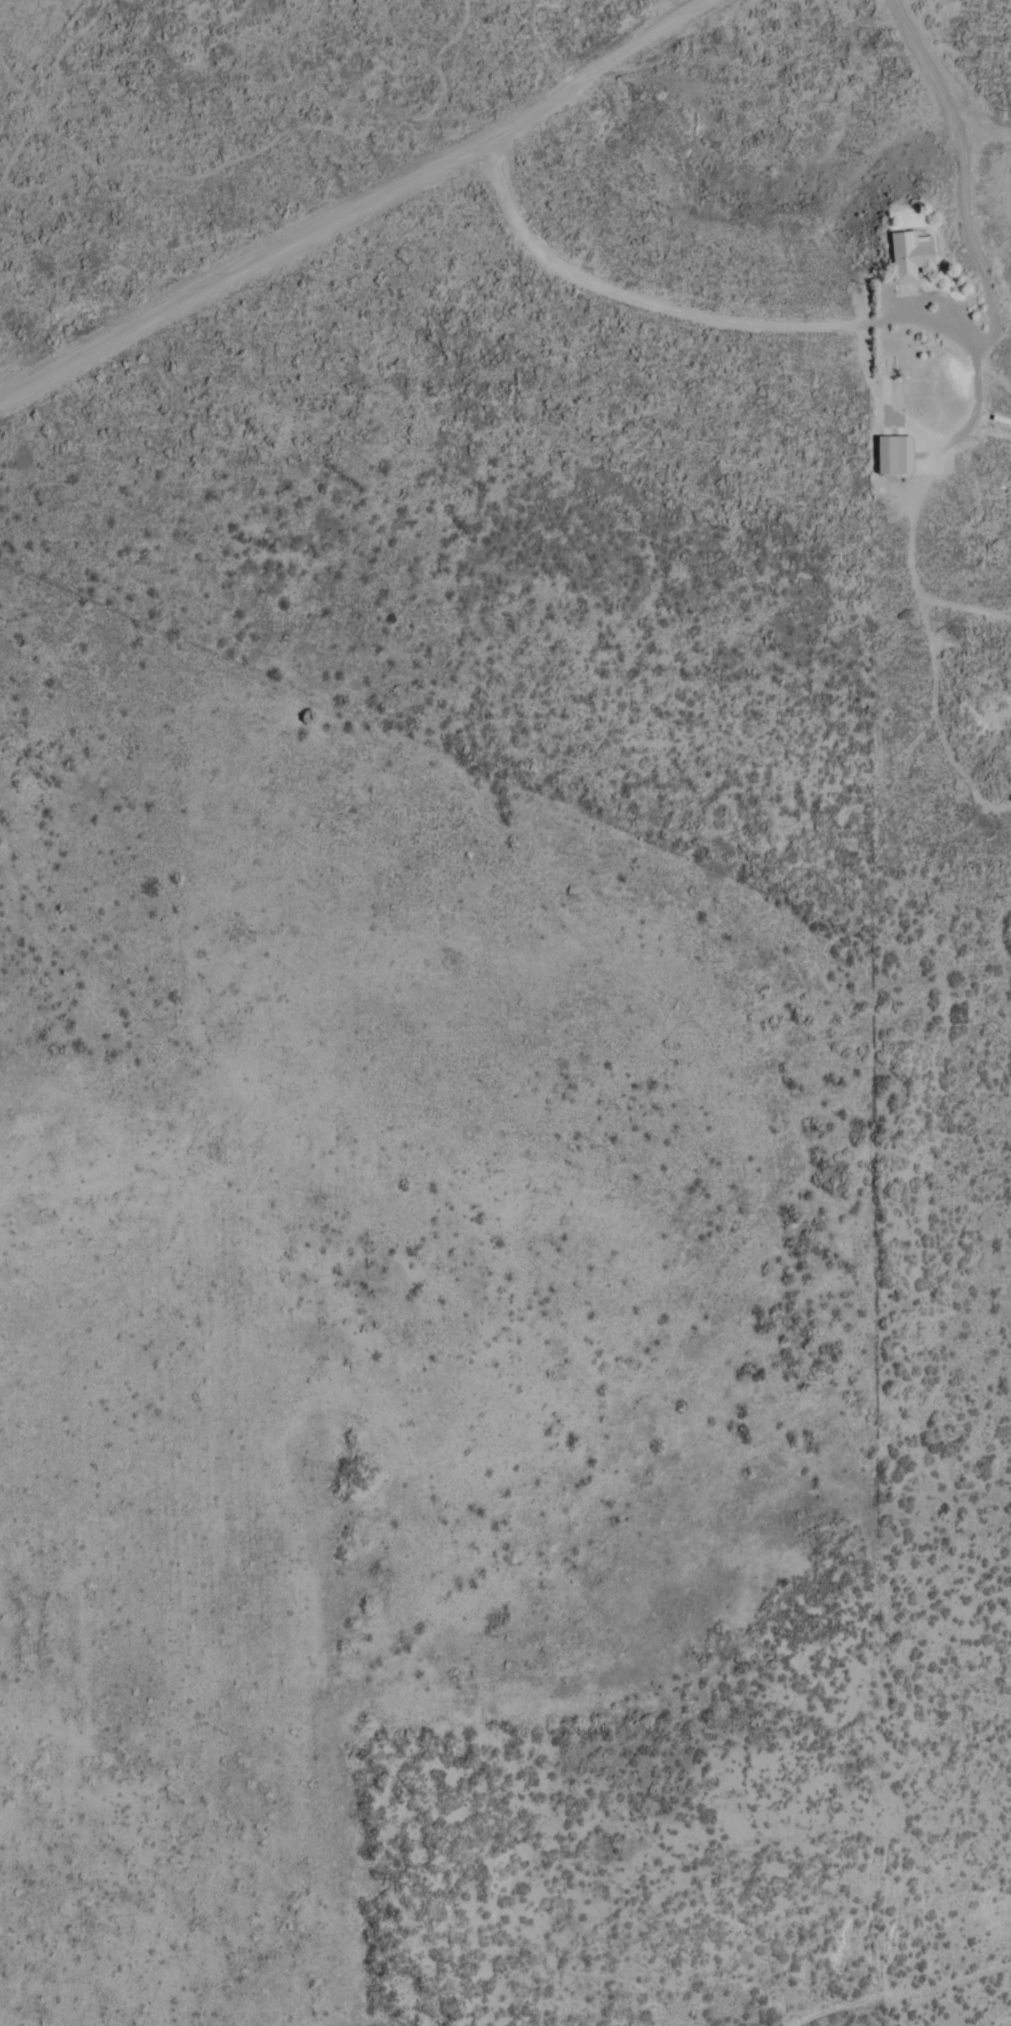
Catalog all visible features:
road: (365, 214)
building: (905, 256)
road: (912, 1990)

